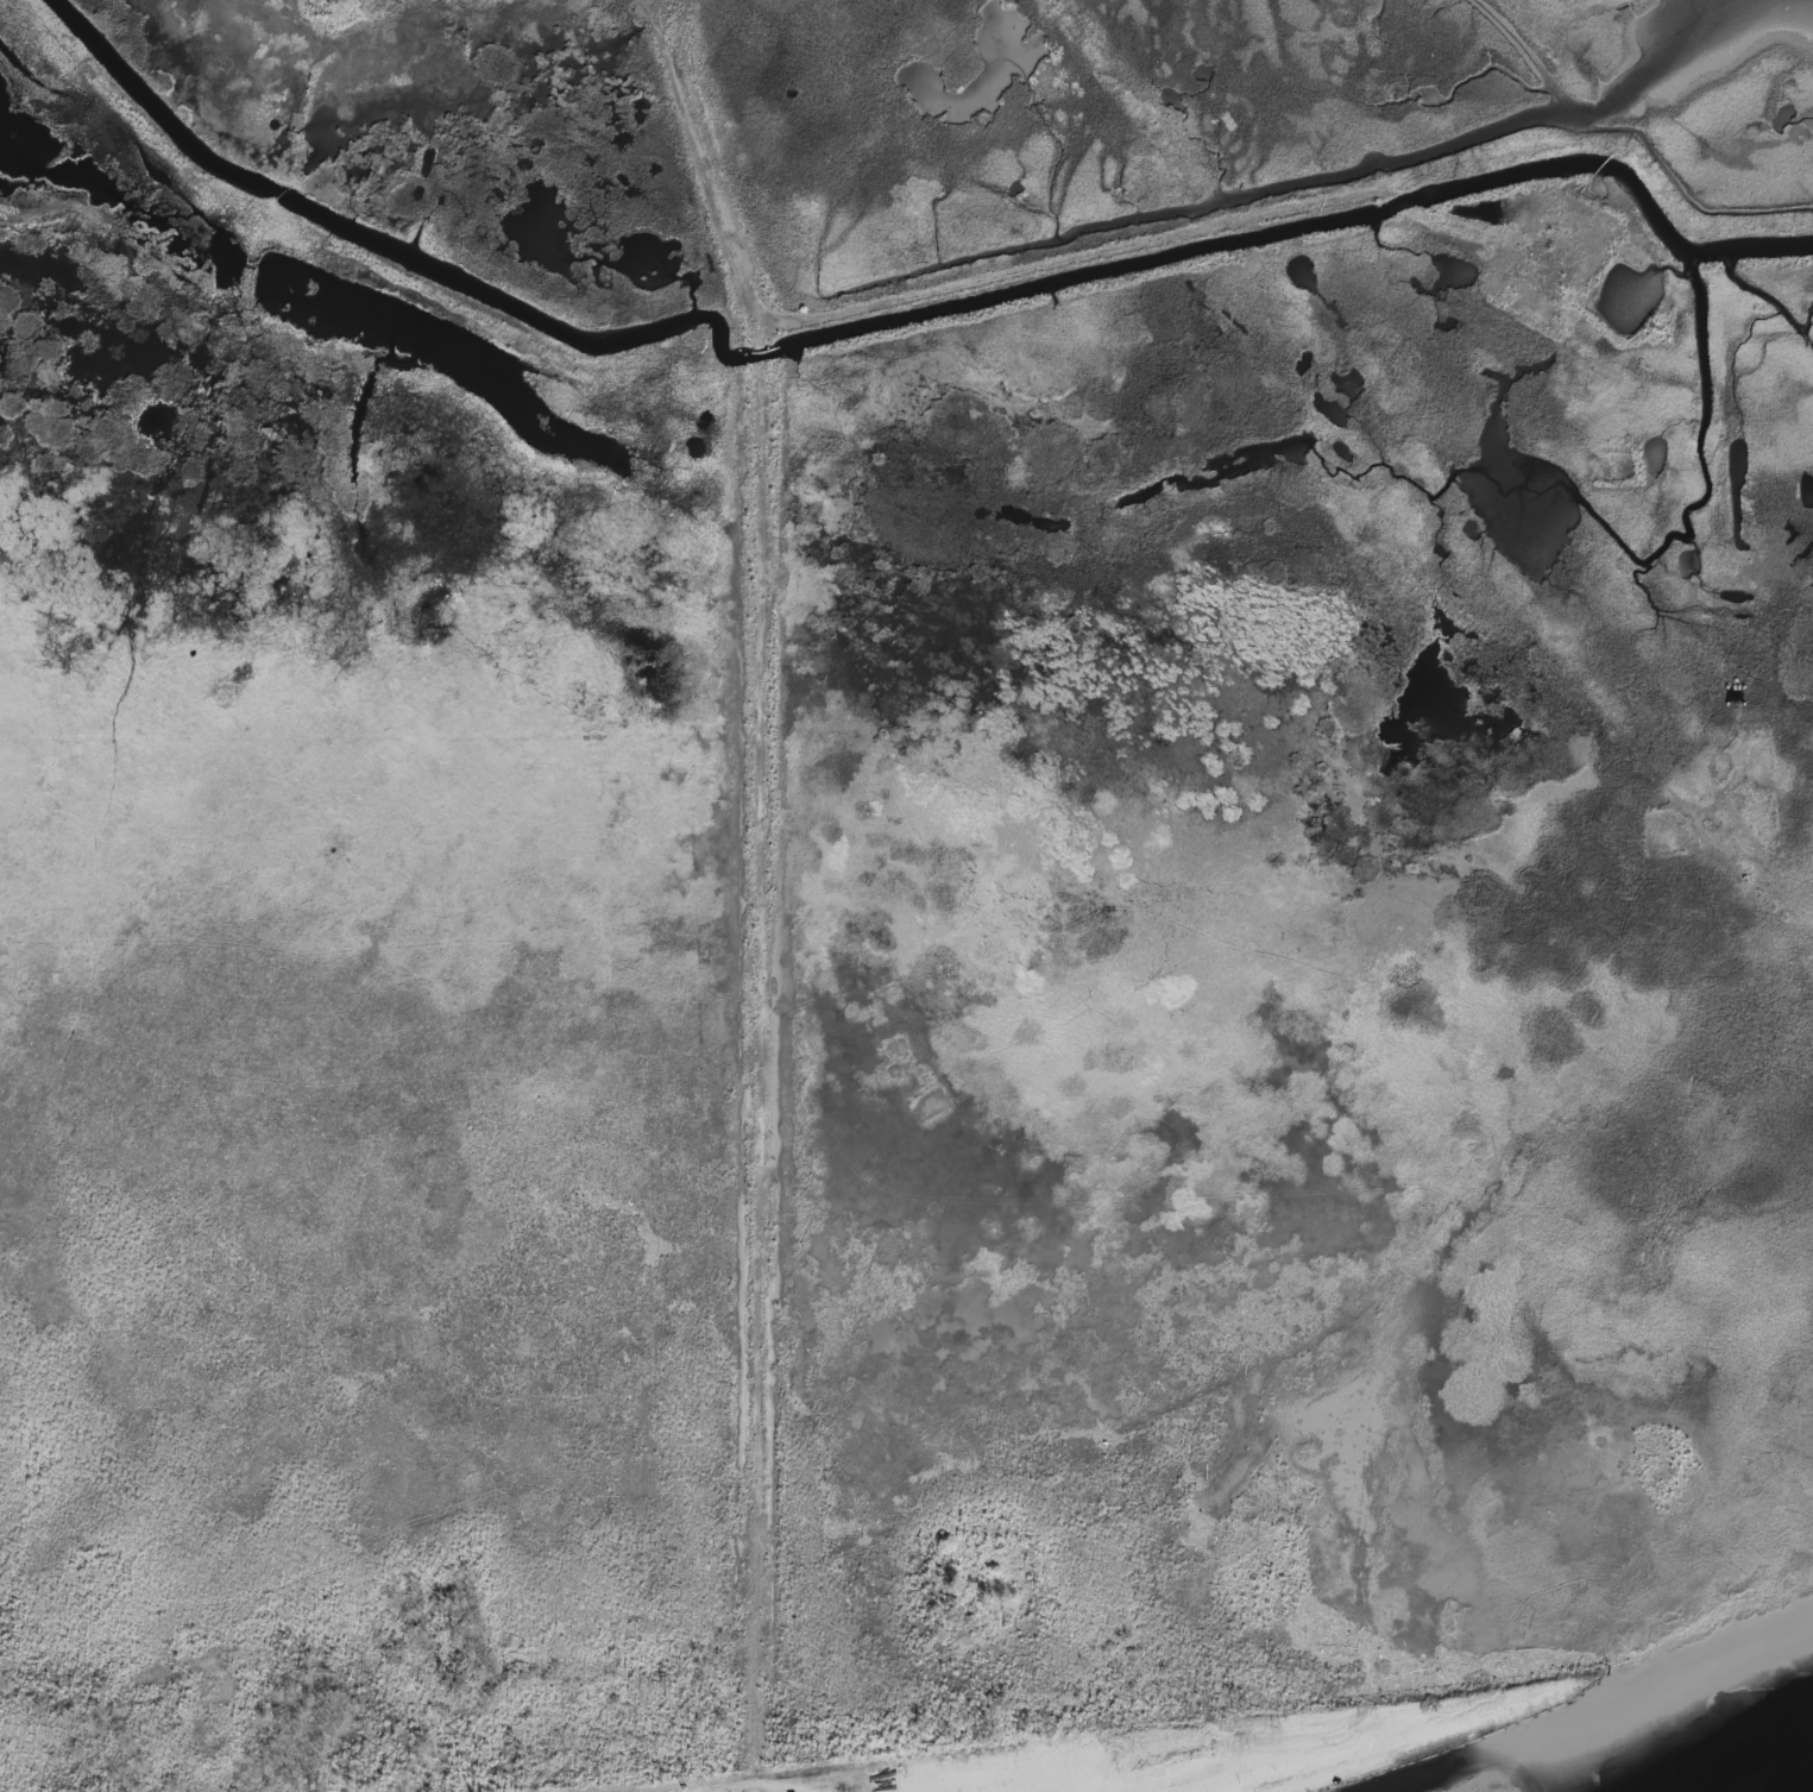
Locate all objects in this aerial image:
road: (1066, 269)
road: (764, 888)

